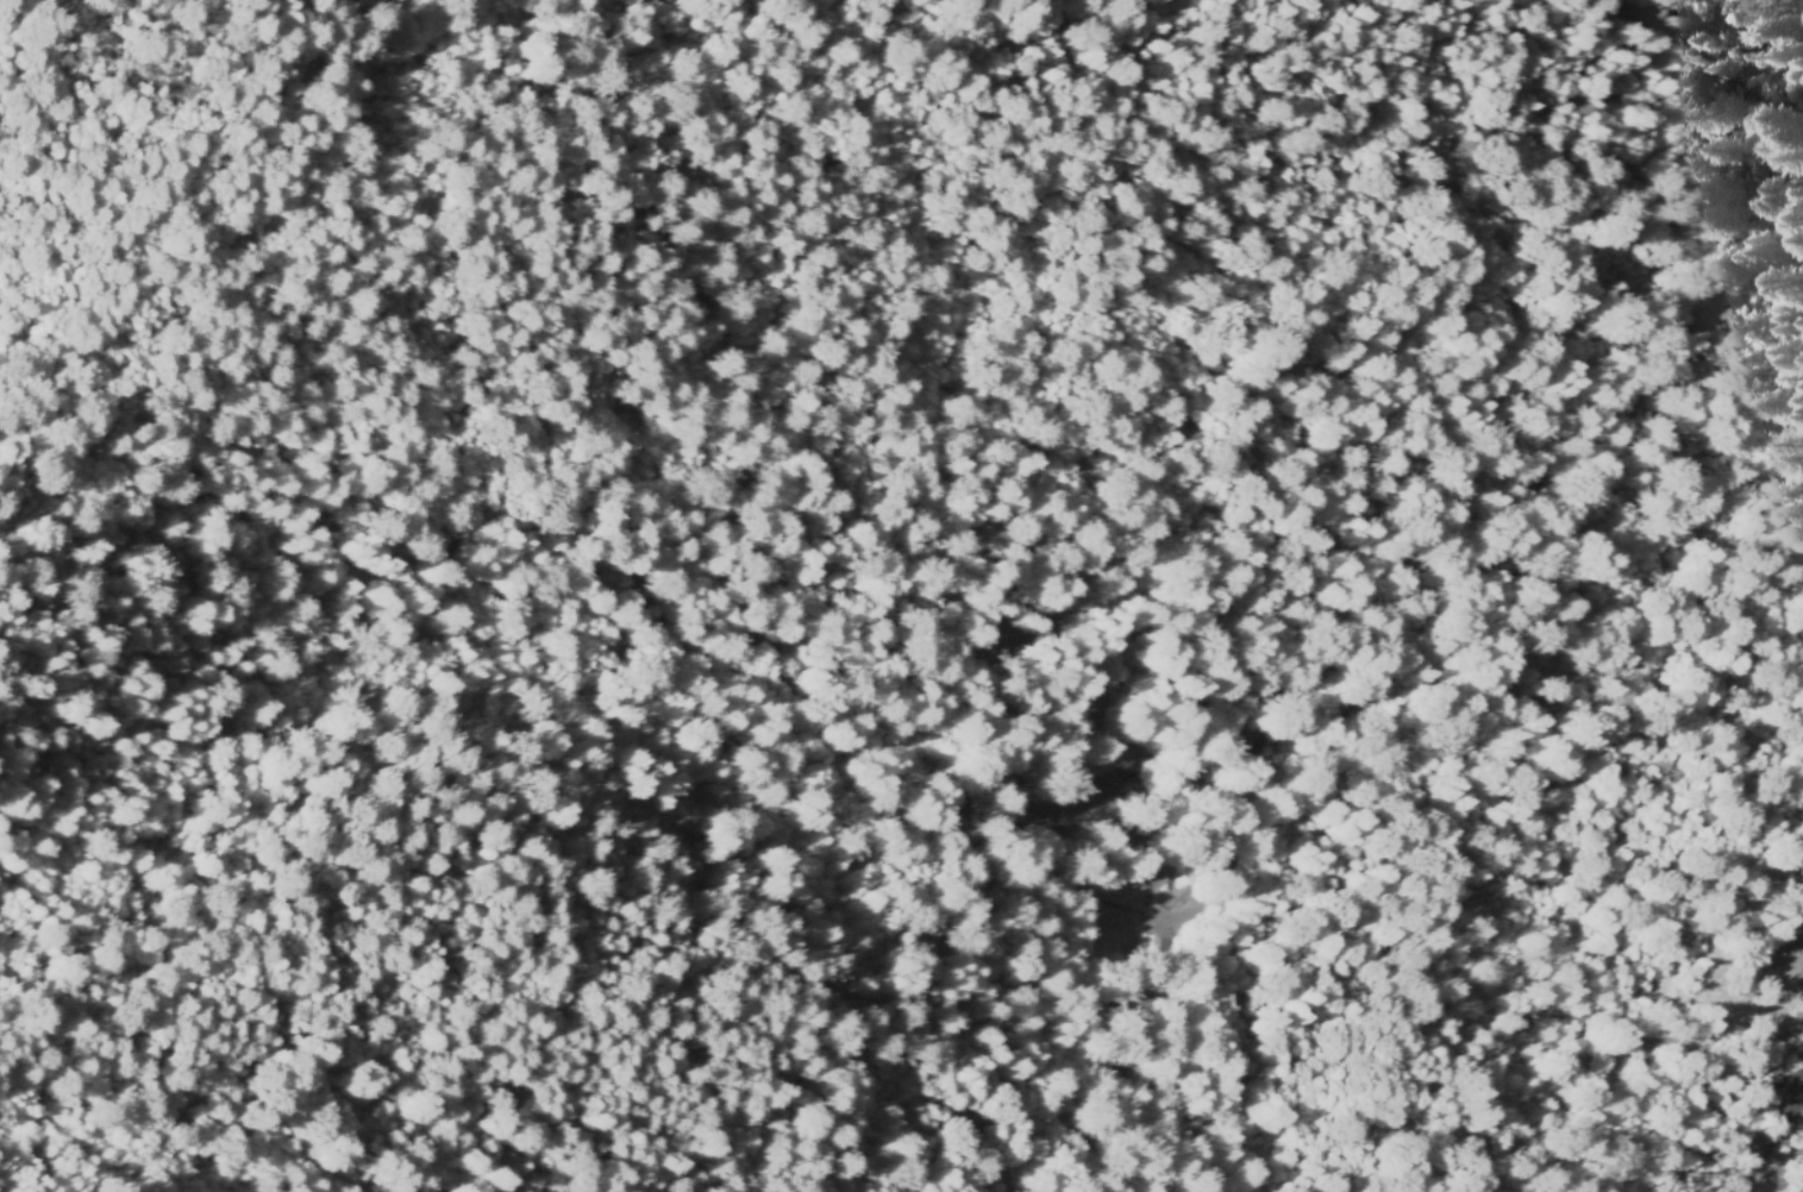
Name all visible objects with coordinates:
building: (1802, 1006)
building: (1752, 1146)

